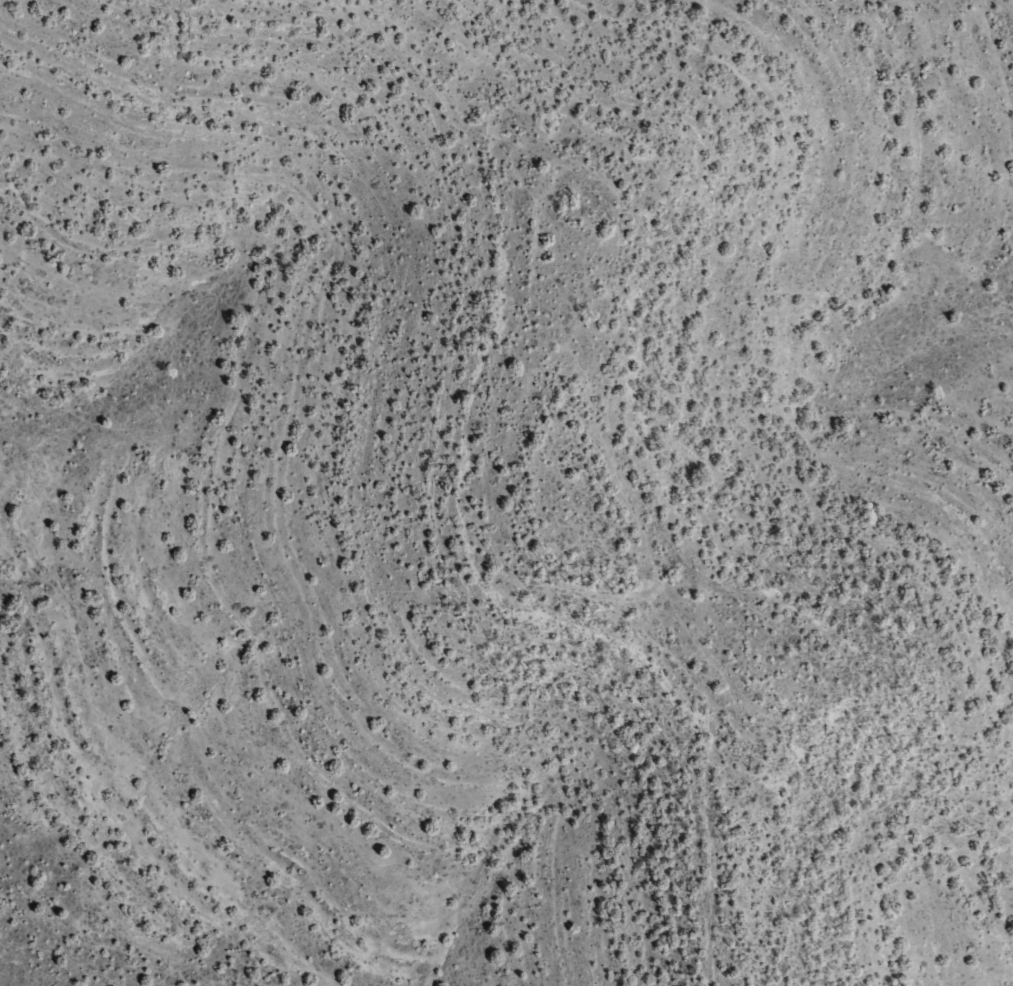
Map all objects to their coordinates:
road: (2, 969)

